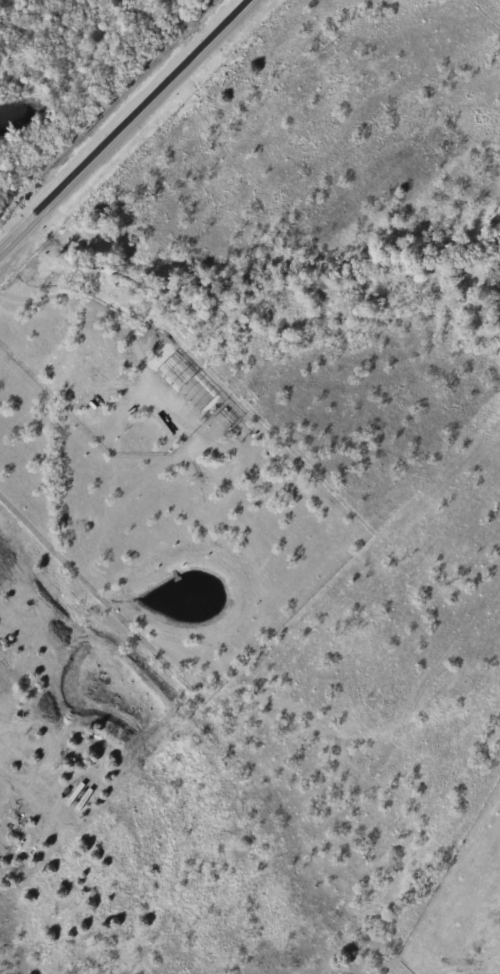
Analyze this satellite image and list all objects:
road: (123, 125)

